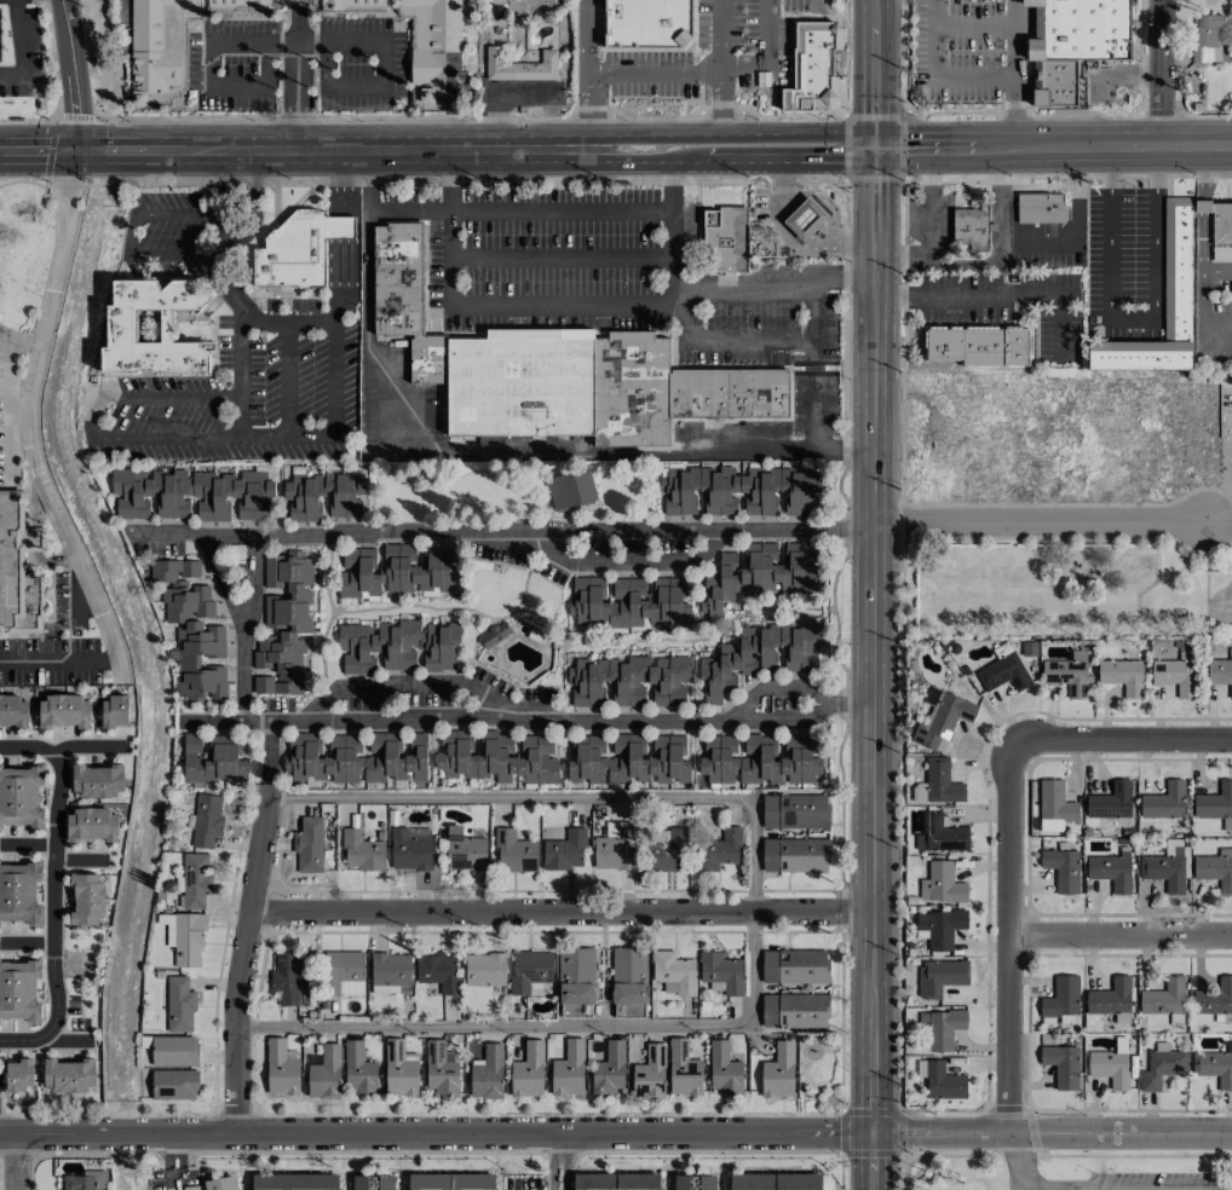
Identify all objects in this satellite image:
building: (237, 4)
building: (352, 4)
road: (874, 15)
building: (649, 24)
road: (974, 27)
road: (718, 35)
road: (587, 37)
building: (1205, 37)
road: (1017, 40)
building: (1073, 42)
building: (433, 46)
road: (22, 48)
building: (151, 51)
road: (766, 57)
road: (209, 59)
road: (384, 62)
building: (813, 65)
building: (503, 67)
road: (1158, 73)
road: (654, 74)
road: (71, 75)
road: (297, 75)
road: (934, 80)
road: (874, 88)
road: (718, 102)
road: (591, 112)
road: (1017, 114)
road: (733, 132)
road: (1031, 146)
road: (1121, 146)
road: (1194, 146)
road: (926, 148)
traffic signals: (874, 149)
road: (183, 150)
road: (240, 150)
road: (424, 150)
road: (40, 151)
road: (110, 151)
road: (649, 162)
road: (791, 162)
road: (1203, 173)
road: (365, 179)
road: (448, 179)
road: (669, 185)
building: (915, 191)
road: (929, 206)
road: (1203, 206)
road: (559, 208)
building: (1040, 208)
road: (408, 209)
building: (805, 218)
gas station: (805, 218)
building: (971, 227)
building: (1221, 231)
road: (338, 235)
building: (726, 238)
road: (1000, 238)
building: (762, 242)
road: (1203, 242)
building: (299, 249)
road: (670, 249)
road: (139, 254)
road: (560, 258)
road: (900, 264)
building: (1178, 268)
road: (1217, 273)
road: (844, 281)
road: (744, 285)
road: (229, 287)
road: (962, 295)
road: (518, 306)
road: (1203, 318)
road: (293, 320)
road: (1132, 322)
road: (1057, 325)
building: (152, 329)
road: (726, 340)
building: (979, 346)
road: (813, 366)
building: (555, 370)
road: (287, 379)
road: (8, 387)
road: (94, 416)
road: (283, 435)
road: (523, 451)
road: (34, 467)
building: (571, 489)
building: (738, 490)
building: (190, 495)
building: (323, 495)
road: (1217, 507)
road: (1037, 521)
road: (1217, 528)
road: (500, 530)
road: (629, 561)
building: (18, 567)
building: (398, 570)
building: (760, 573)
road: (871, 583)
road: (220, 585)
road: (253, 585)
building: (627, 602)
building: (284, 624)
building: (192, 629)
building: (494, 635)
building: (397, 646)
building: (759, 655)
building: (1003, 672)
building: (1067, 674)
building: (1176, 674)
building: (1220, 674)
building: (1121, 675)
road: (242, 678)
building: (629, 680)
road: (408, 686)
road: (775, 687)
building: (64, 711)
building: (13, 712)
building: (114, 712)
building: (943, 718)
road: (534, 721)
road: (1121, 743)
road: (88, 749)
building: (323, 757)
building: (395, 757)
building: (499, 757)
building: (212, 759)
building: (629, 759)
building: (760, 759)
building: (97, 780)
building: (940, 781)
building: (19, 796)
road: (564, 796)
building: (1110, 802)
building: (1164, 802)
building: (1216, 804)
building: (1054, 807)
building: (795, 810)
building: (206, 820)
building: (91, 825)
building: (942, 834)
road: (28, 844)
building: (309, 845)
building: (410, 848)
building: (615, 848)
building: (464, 850)
building: (565, 850)
building: (664, 850)
building: (718, 850)
building: (361, 851)
building: (514, 851)
building: (795, 855)
building: (1167, 866)
building: (1061, 870)
building: (1111, 870)
building: (1215, 870)
building: (194, 880)
building: (940, 884)
building: (18, 892)
road: (53, 894)
building: (86, 900)
road: (559, 909)
road: (247, 926)
building: (940, 926)
road: (1011, 938)
road: (1121, 938)
building: (188, 940)
road: (27, 942)
building: (794, 966)
building: (484, 969)
building: (529, 970)
building: (438, 971)
building: (674, 971)
building: (721, 971)
building: (342, 972)
building: (390, 972)
building: (575, 976)
building: (628, 976)
building: (939, 976)
building: (287, 977)
building: (19, 989)
building: (1061, 997)
building: (1110, 997)
building: (1164, 998)
building: (1215, 998)
building: (179, 1004)
building: (794, 1010)
road: (548, 1024)
building: (943, 1028)
road: (68, 1042)
building: (173, 1051)
building: (1061, 1065)
building: (1214, 1067)
building: (280, 1068)
building: (1110, 1068)
building: (1162, 1068)
building: (358, 1069)
building: (441, 1069)
building: (568, 1069)
building: (609, 1069)
building: (683, 1069)
building: (722, 1069)
building: (401, 1071)
building: (528, 1071)
building: (778, 1071)
building: (650, 1073)
building: (68, 1074)
building: (324, 1074)
building: (488, 1074)
building: (18, 1075)
road: (871, 1075)
park: (824, 1076)
building: (943, 1081)
building: (174, 1085)
road: (615, 1133)
traffic signals: (871, 1133)
road: (173, 1150)
road: (558, 1155)
road: (16, 1161)
road: (871, 1161)
road: (175, 1178)
building: (85, 1180)
building: (294, 1182)
building: (451, 1182)
building: (616, 1182)
building: (681, 1182)
building: (707, 1182)
building: (775, 1182)
building: (365, 1183)
building: (386, 1183)
building: (220, 1184)
road: (559, 1184)
road: (1095, 1189)

